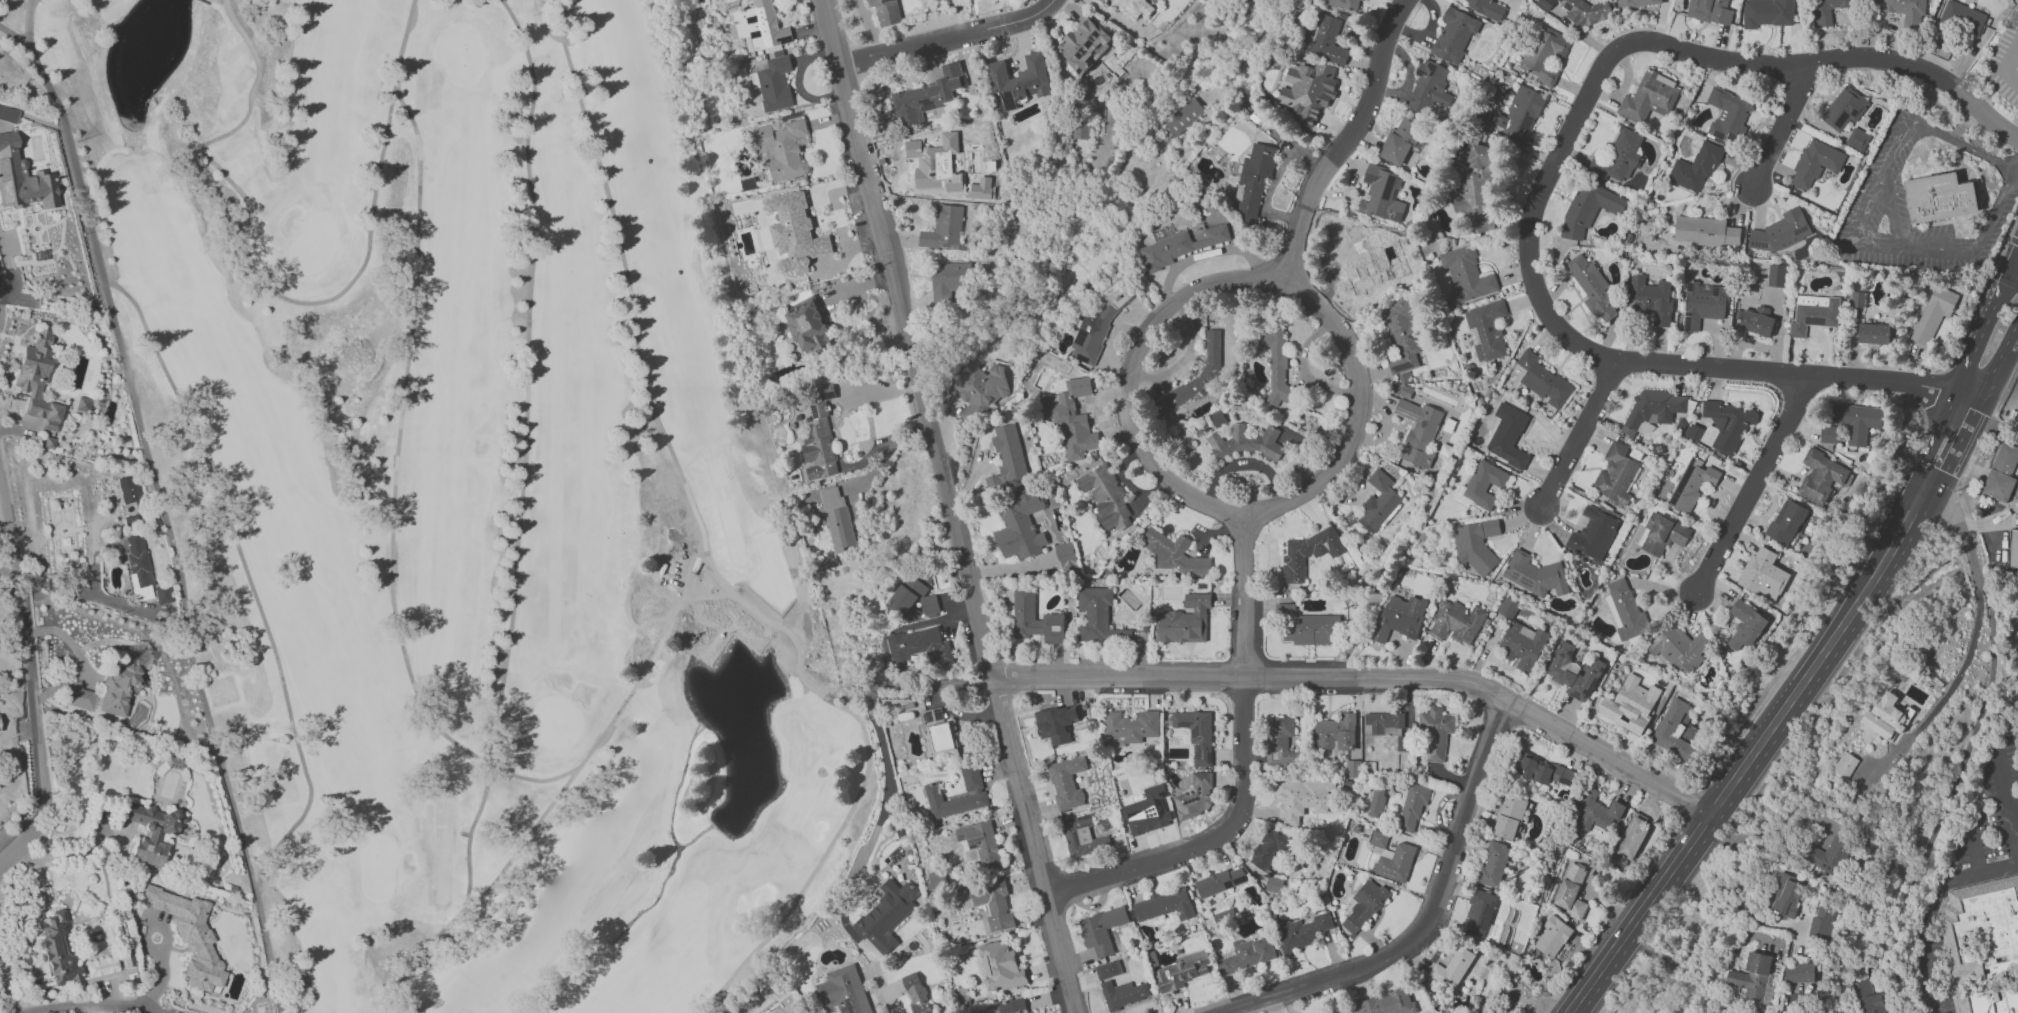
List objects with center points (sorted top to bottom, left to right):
building: (1367, 0)
building: (1638, 2)
building: (1345, 4)
building: (1135, 7)
building: (1487, 7)
building: (1827, 10)
building: (1907, 10)
building: (887, 11)
building: (1586, 11)
building: (1710, 11)
building: (1768, 13)
building: (1962, 17)
building: (1454, 34)
road: (951, 35)
building: (1327, 39)
building: (1083, 44)
building: (1546, 55)
building: (780, 56)
parking lot: (2005, 61)
road: (2005, 64)
building: (1019, 80)
building: (1429, 87)
building: (1308, 90)
building: (927, 96)
building: (1649, 97)
building: (1844, 108)
building: (8, 114)
building: (1729, 115)
building: (1184, 117)
building: (1080, 130)
road: (1781, 131)
road: (1348, 136)
building: (1857, 139)
building: (1401, 140)
building: (784, 148)
building: (1618, 157)
building: (937, 163)
building: (1816, 163)
building: (1695, 167)
road: (2016, 167)
building: (22, 179)
building: (1253, 183)
building: (1478, 188)
road: (1553, 193)
building: (1382, 194)
building: (1938, 198)
road: (1884, 204)
building: (1589, 208)
building: (944, 228)
road: (2013, 228)
building: (1706, 230)
road: (1856, 230)
building: (1781, 231)
building: (795, 233)
road: (2013, 240)
building: (1179, 246)
building: (1368, 259)
road: (2014, 260)
road: (2014, 270)
building: (1467, 275)
building: (1776, 275)
building: (949, 281)
building: (1594, 288)
road: (16, 296)
building: (1651, 299)
building: (1857, 299)
building: (1704, 304)
building: (1814, 313)
building: (1933, 314)
building: (1757, 321)
building: (807, 325)
building: (1097, 326)
building: (1486, 329)
road: (1983, 330)
building: (1873, 333)
building: (1402, 334)
road: (2009, 356)
road: (1999, 361)
building: (1277, 366)
road: (1129, 374)
building: (1195, 377)
building: (38, 380)
building: (1543, 380)
building: (980, 390)
building: (825, 391)
building: (1406, 391)
building: (1652, 410)
road: (1361, 412)
building: (1073, 418)
building: (1857, 420)
road: (1996, 424)
building: (1418, 432)
building: (1829, 434)
road: (1579, 435)
building: (1508, 436)
road: (1933, 438)
building: (1248, 442)
building: (49, 443)
building: (818, 445)
road: (1960, 447)
road: (888, 453)
road: (872, 454)
building: (1008, 457)
building: (1616, 474)
building: (2001, 474)
building: (1821, 476)
building: (1484, 483)
building: (1692, 483)
road: (1755, 485)
building: (129, 489)
building: (1106, 496)
park: (451, 497)
building: (1378, 502)
building: (837, 519)
building: (1787, 521)
road: (1991, 523)
building: (1020, 524)
road: (1960, 529)
building: (1661, 533)
building: (1594, 535)
building: (1476, 543)
building: (2013, 549)
building: (1308, 552)
building: (1175, 553)
building: (1067, 556)
building: (137, 566)
building: (1535, 574)
building: (1764, 574)
road: (77, 592)
building: (162, 594)
road: (9, 598)
building: (912, 601)
building: (1624, 609)
building: (1053, 616)
building: (1098, 617)
building: (1399, 617)
building: (1185, 621)
building: (1457, 622)
building: (1745, 625)
building: (1306, 626)
road: (68, 641)
building: (919, 645)
building: (1523, 646)
building: (1679, 648)
building: (1575, 672)
road: (1021, 677)
road: (30, 678)
road: (934, 682)
road: (1953, 687)
road: (53, 688)
building: (118, 689)
building: (79, 696)
road: (871, 703)
building: (1630, 704)
building: (1890, 716)
building: (1057, 723)
building: (1130, 726)
building: (1388, 726)
building: (1677, 731)
building: (1436, 732)
building: (1335, 733)
building: (1197, 734)
building: (939, 735)
building: (1281, 740)
road: (1755, 755)
building: (175, 762)
road: (1960, 764)
building: (1353, 768)
building: (1844, 769)
road: (1241, 770)
building: (1542, 773)
building: (1067, 782)
building: (975, 790)
building: (1196, 797)
building: (1302, 798)
road: (2008, 798)
building: (1376, 803)
building: (1412, 807)
building: (1148, 811)
building: (1598, 811)
building: (1510, 817)
building: (150, 830)
road: (1759, 831)
building: (1083, 836)
building: (1634, 836)
building: (1379, 838)
building: (981, 842)
road: (1035, 845)
building: (1270, 849)
road: (1975, 850)
building: (1832, 855)
road: (59, 857)
building: (1396, 863)
building: (1494, 864)
building: (937, 878)
building: (1220, 881)
building: (1274, 884)
building: (1571, 891)
building: (1787, 895)
building: (990, 904)
building: (1164, 905)
building: (1364, 905)
road: (1931, 910)
building: (1479, 914)
building: (886, 915)
building: (1224, 915)
road: (1425, 917)
building: (1822, 924)
building: (1103, 928)
building: (1305, 930)
building: (189, 935)
building: (1552, 937)
building: (2003, 942)
building: (58, 950)
building: (1248, 954)
building: (1002, 965)
building: (101, 966)
building: (1457, 967)
building: (1108, 969)
building: (1180, 971)
building: (1799, 972)
building: (1754, 978)
road: (6, 991)
building: (843, 991)
building: (917, 993)
building: (1124, 993)
building: (1869, 998)
building: (1388, 1003)
road: (80, 1005)
building: (1013, 1005)
building: (1340, 1010)
building: (1031, 1012)

